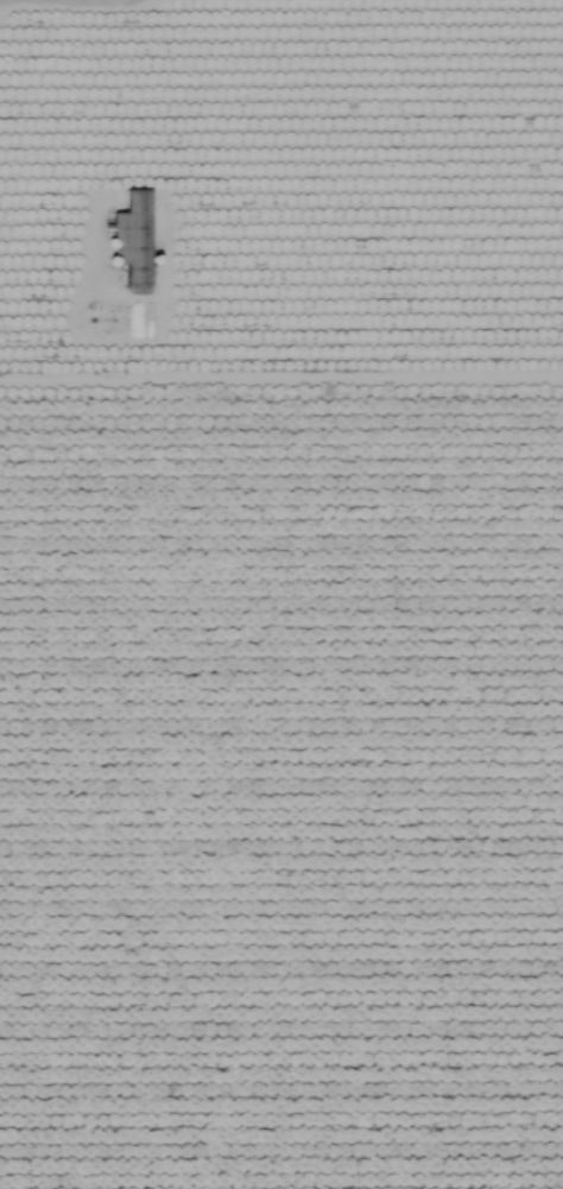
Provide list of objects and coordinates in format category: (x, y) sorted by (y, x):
crop: (280, 196)

